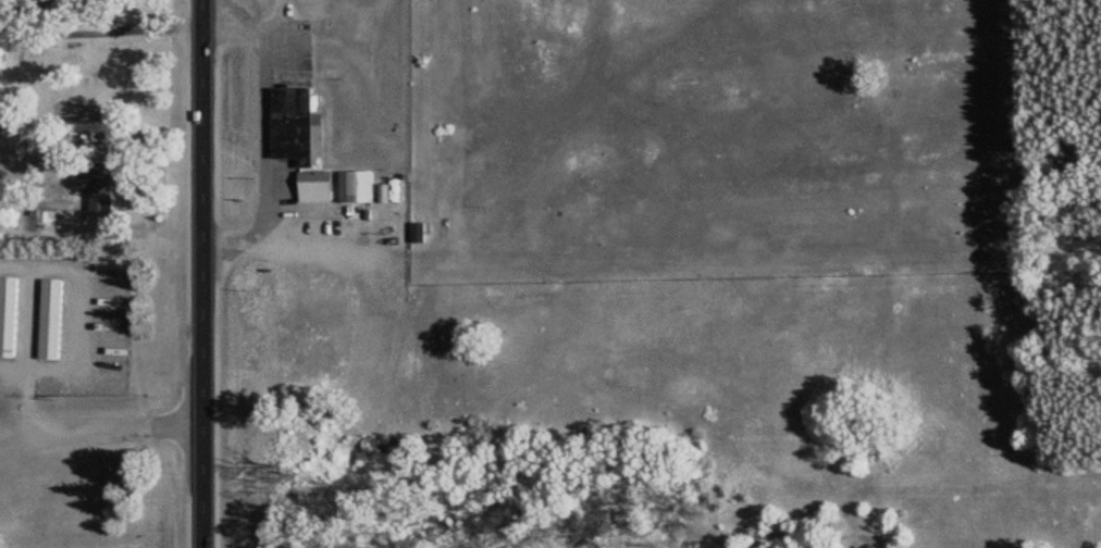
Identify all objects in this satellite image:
building: (99, 154)
building: (317, 187)
building: (357, 188)
building: (95, 190)
building: (418, 234)
road: (202, 274)
building: (8, 316)
building: (50, 320)
road: (974, 479)
road: (796, 509)
road: (888, 520)

